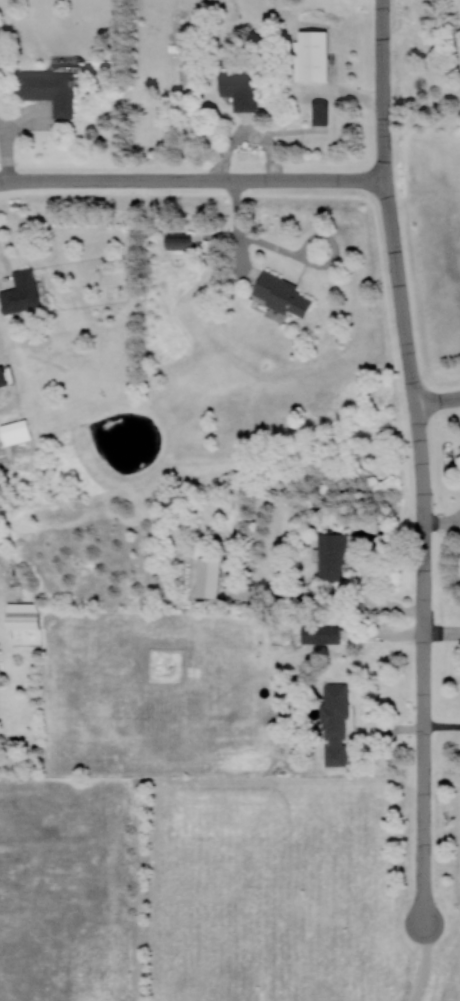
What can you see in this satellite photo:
building: (311, 56)
road: (382, 63)
building: (239, 89)
building: (49, 90)
building: (321, 113)
road: (383, 153)
road: (191, 180)
road: (239, 230)
building: (179, 241)
building: (20, 293)
building: (281, 294)
building: (2, 377)
road: (437, 400)
building: (15, 432)
road: (423, 550)
building: (331, 556)
building: (207, 577)
building: (23, 615)
building: (320, 634)
building: (335, 724)
road: (423, 963)

